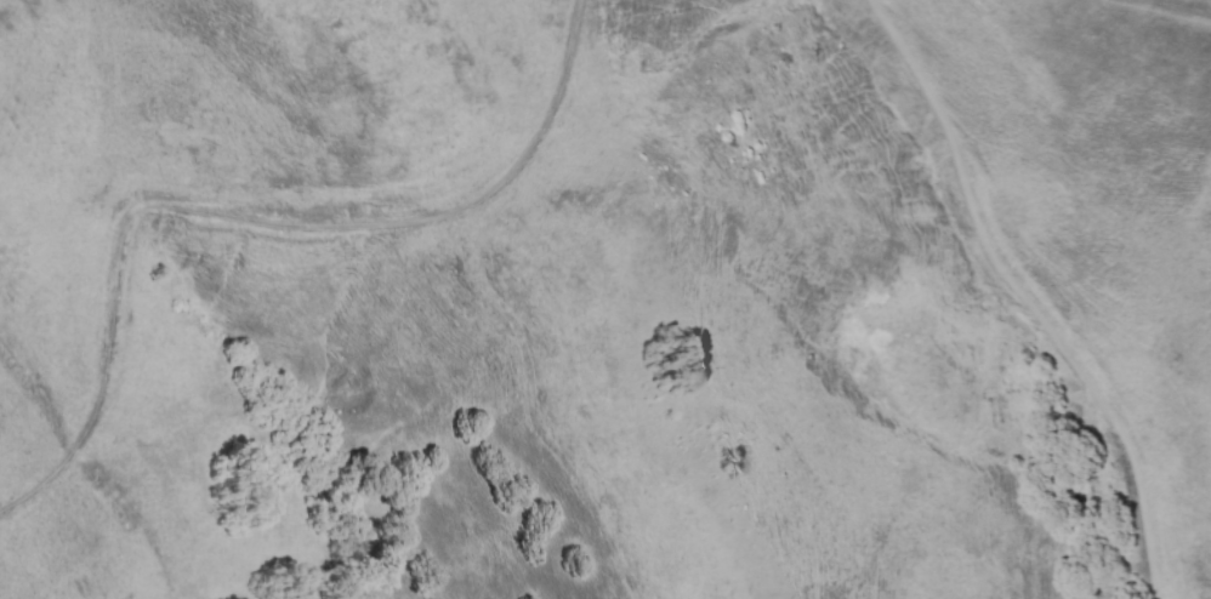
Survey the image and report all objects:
road: (1158, 13)
road: (252, 213)
road: (1025, 297)

